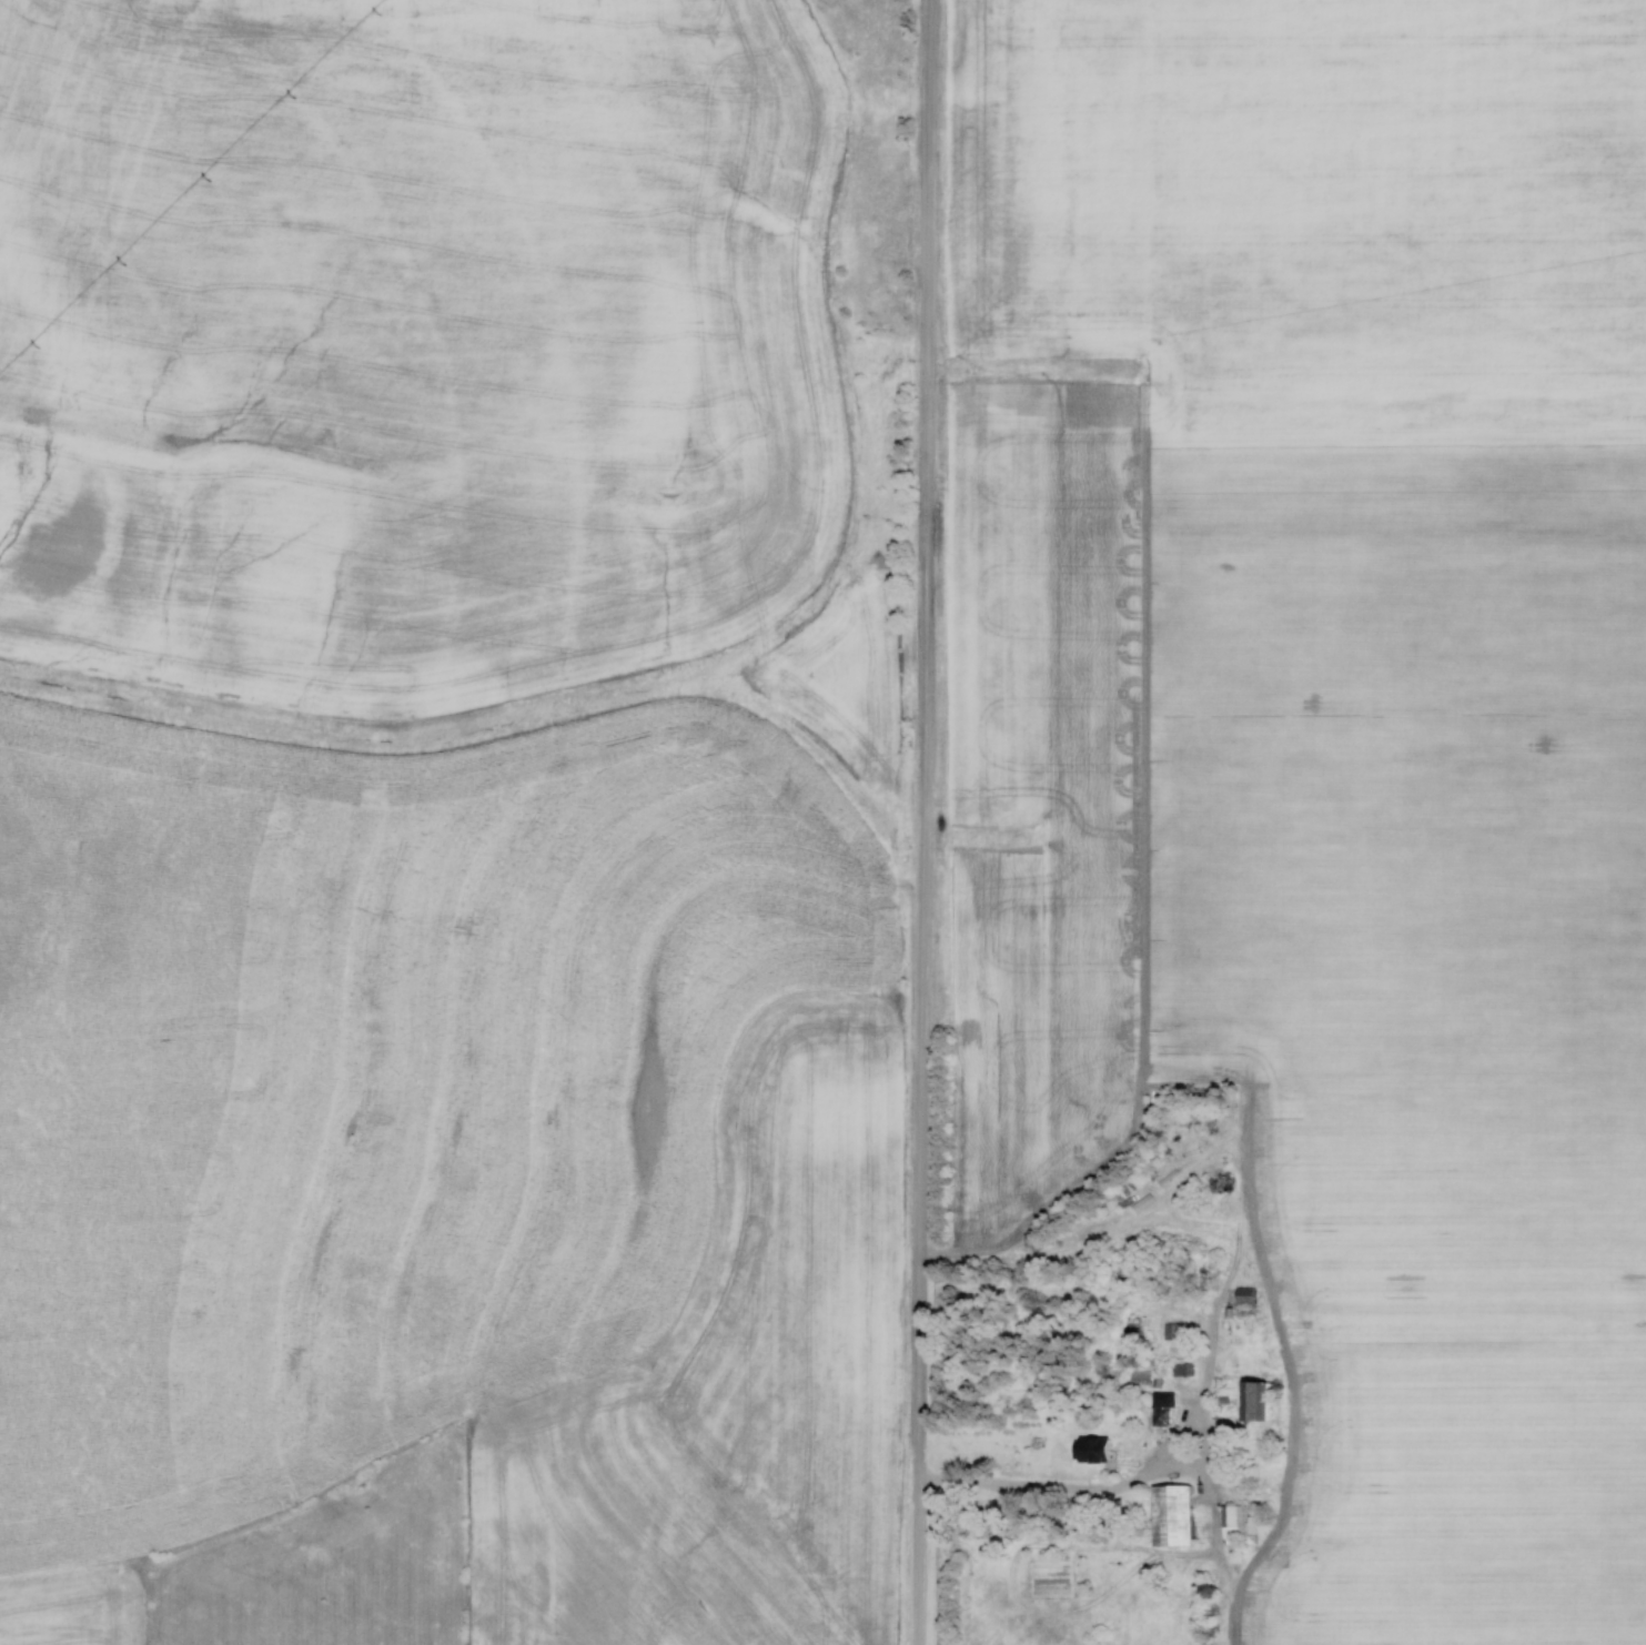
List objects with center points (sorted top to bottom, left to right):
road: (923, 822)
building: (1245, 1295)
building: (1310, 1321)
building: (1135, 1325)
building: (1171, 1331)
building: (1181, 1369)
building: (1255, 1402)
building: (1161, 1412)
building: (1093, 1450)
road: (1154, 1470)
building: (1173, 1516)
building: (1238, 1525)

